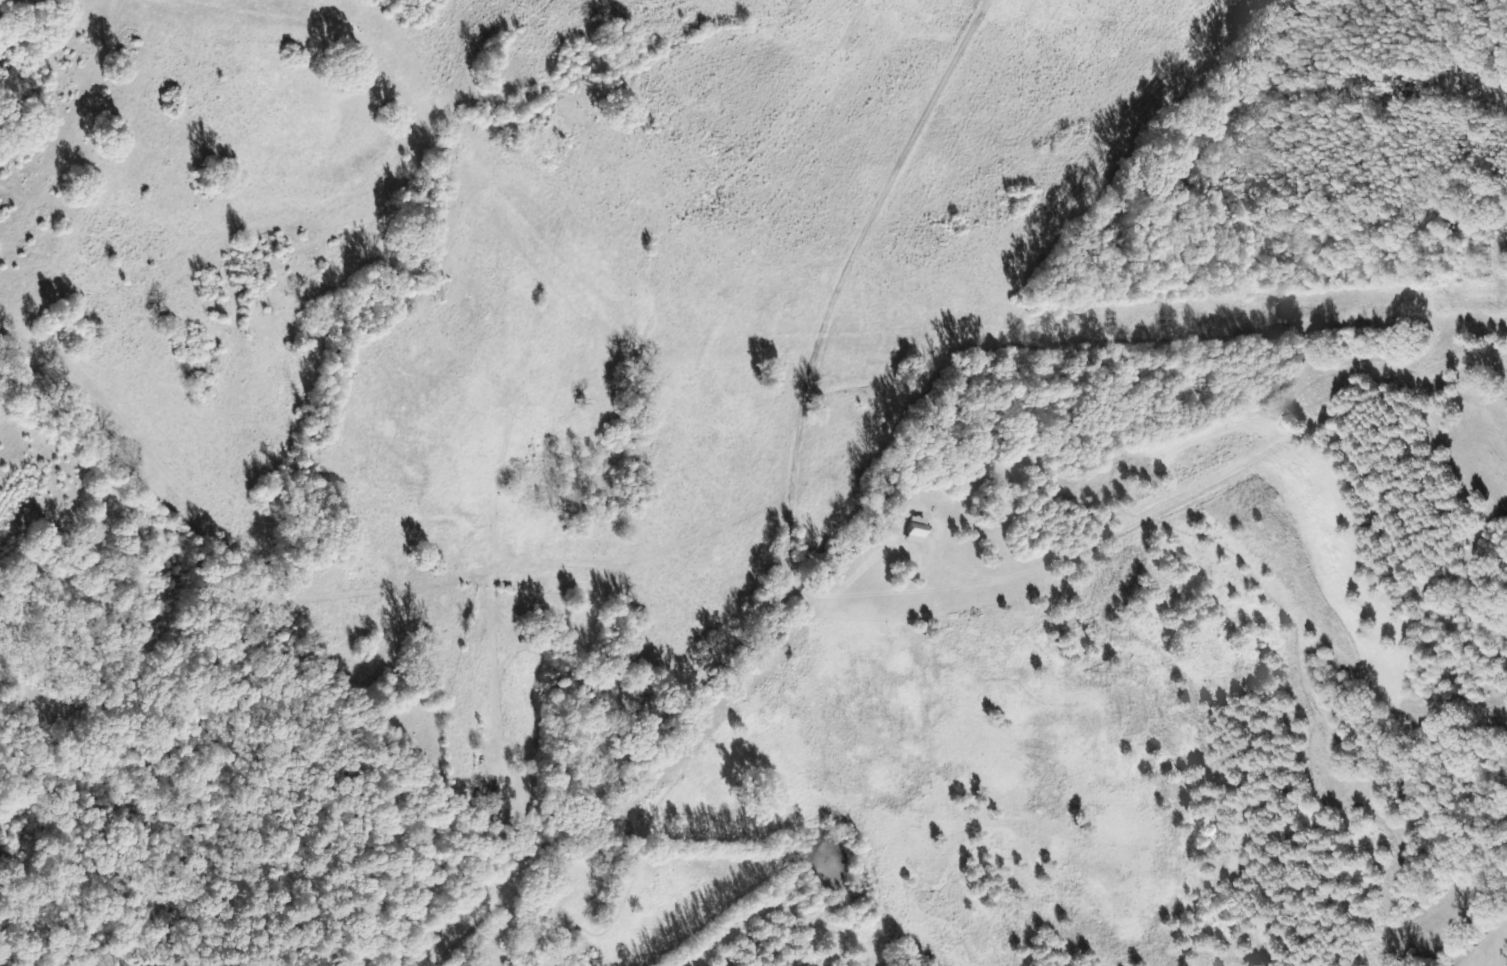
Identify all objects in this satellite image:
road: (489, 877)

